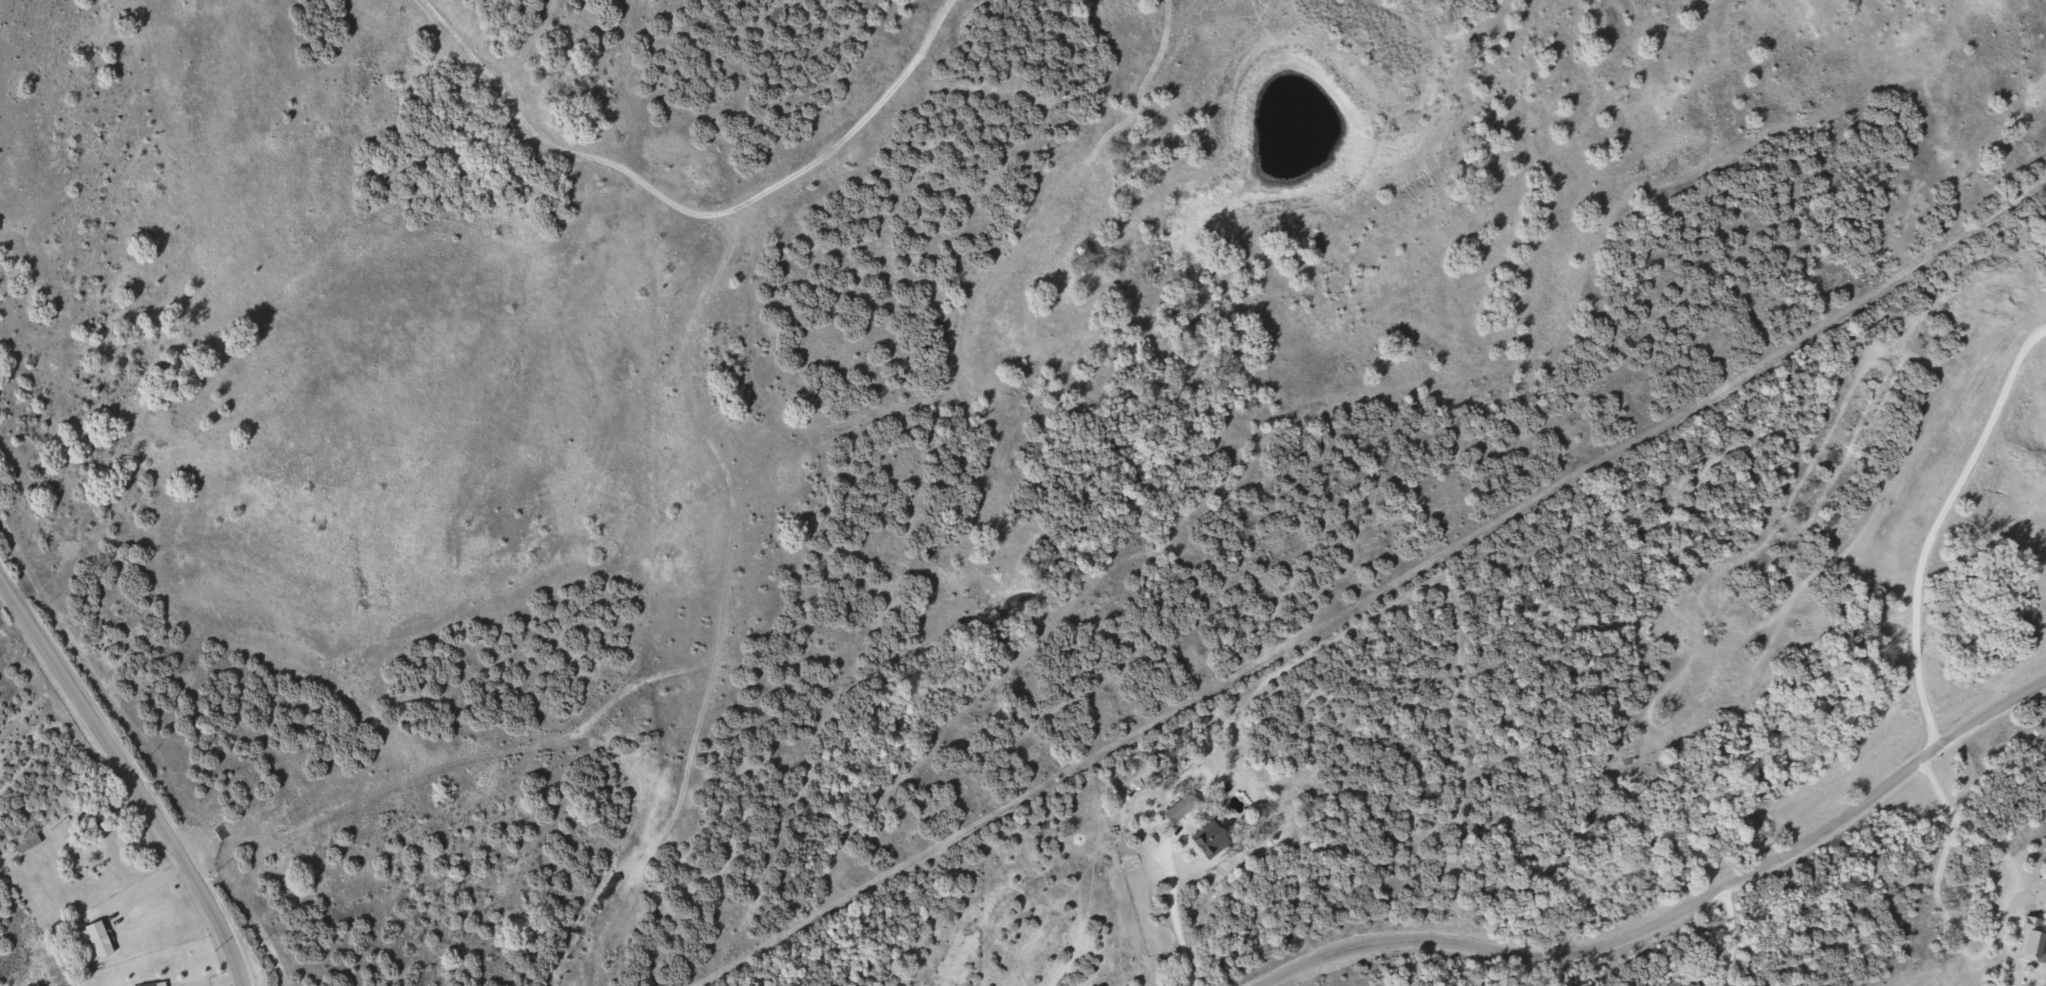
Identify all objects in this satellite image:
road: (1536, 438)
road: (1930, 522)
road: (131, 777)
building: (1178, 813)
building: (1211, 840)
building: (29, 844)
road: (1679, 914)
road: (1174, 919)
building: (2033, 939)
road: (1655, 961)
road: (1329, 974)
building: (150, 985)

